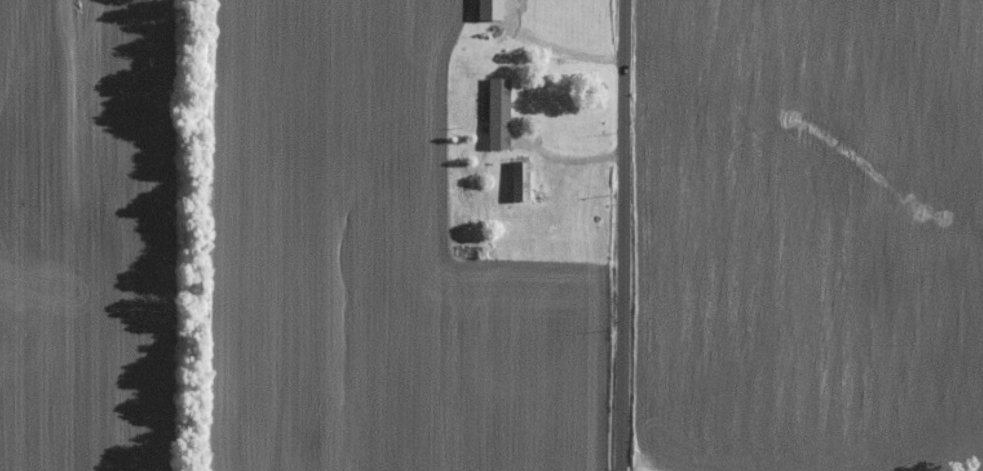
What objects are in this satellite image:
building: (488, 9)
building: (497, 113)
building: (517, 177)
road: (628, 235)

